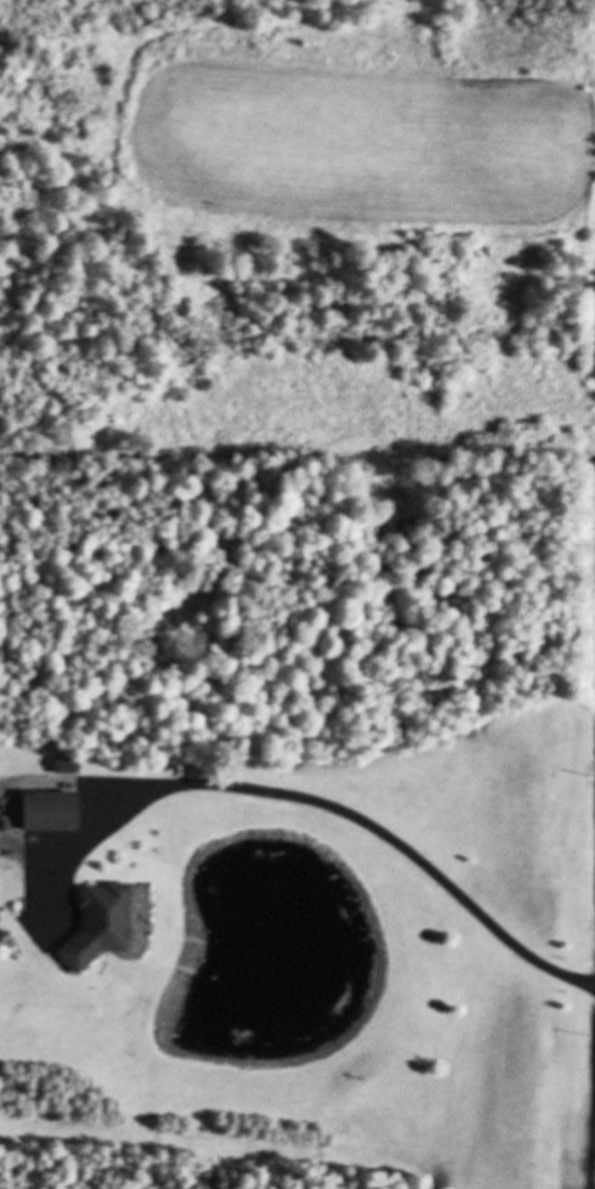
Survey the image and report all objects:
building: (56, 810)
road: (369, 825)
building: (103, 924)

